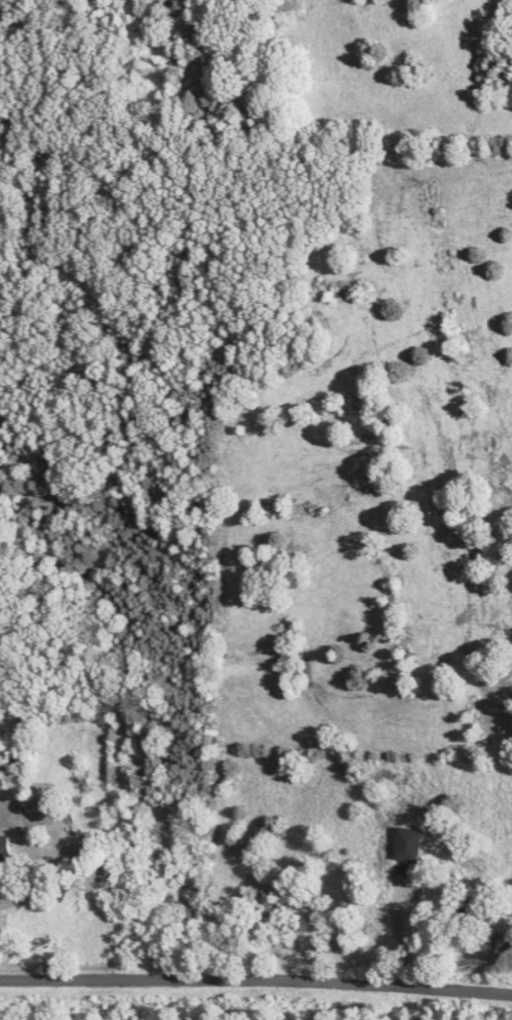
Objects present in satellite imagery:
building: (410, 846)
building: (6, 851)
road: (27, 864)
road: (399, 926)
road: (256, 980)

